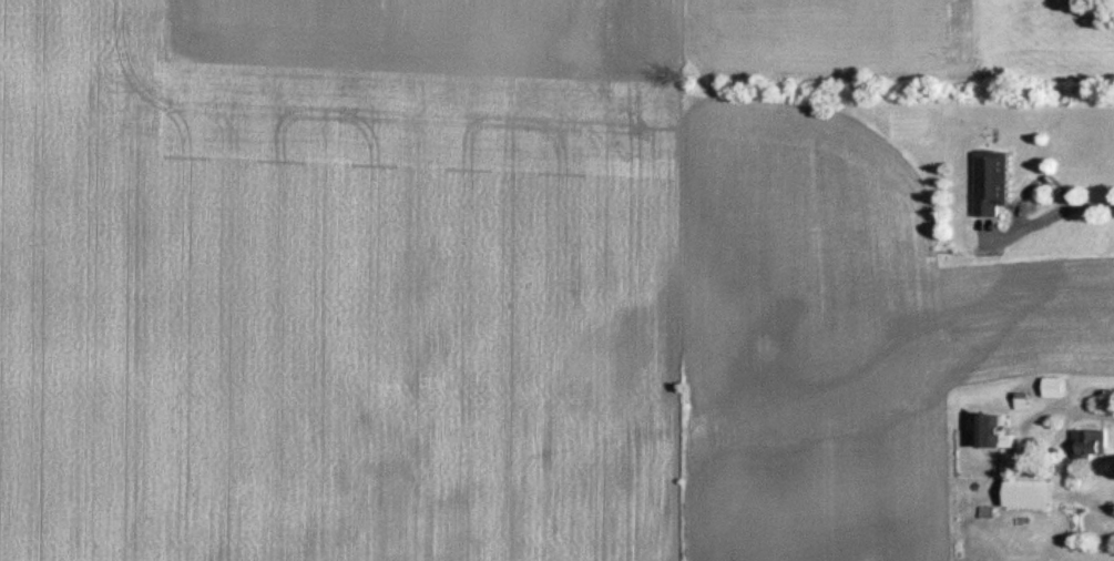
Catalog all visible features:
building: (993, 184)
road: (1061, 212)
building: (1056, 389)
building: (994, 435)
building: (1092, 446)
building: (1029, 496)

